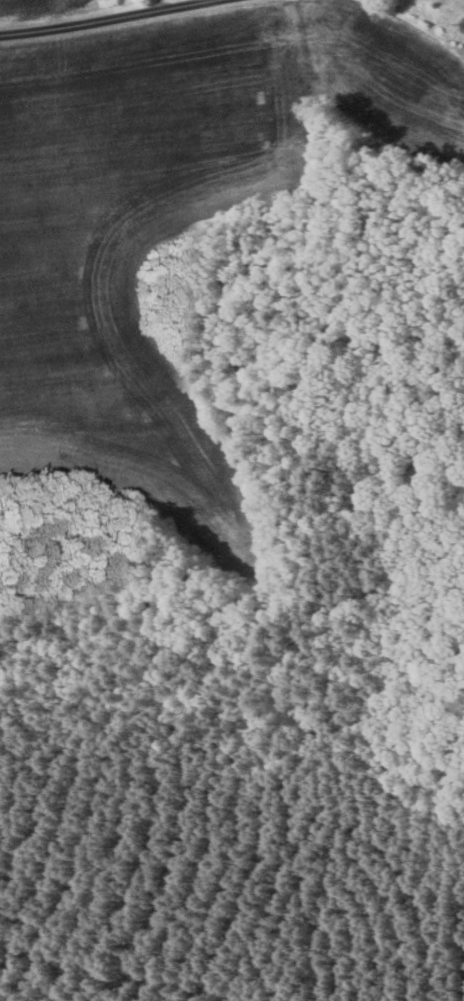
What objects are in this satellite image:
road: (122, 19)

